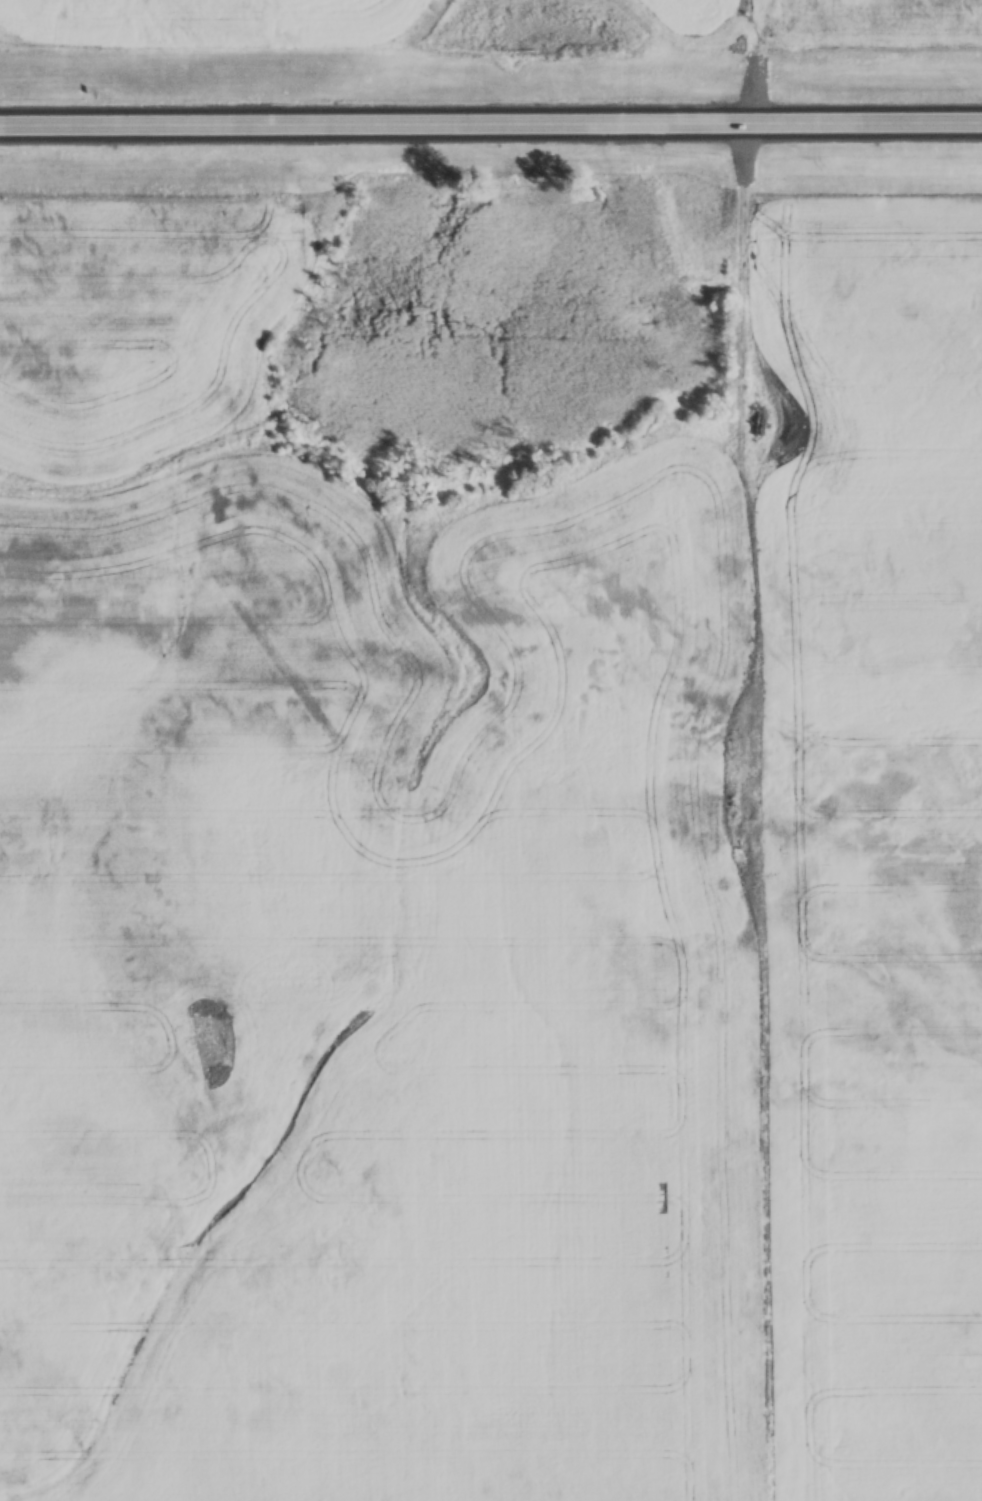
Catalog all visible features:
road: (490, 121)
river: (442, 334)

